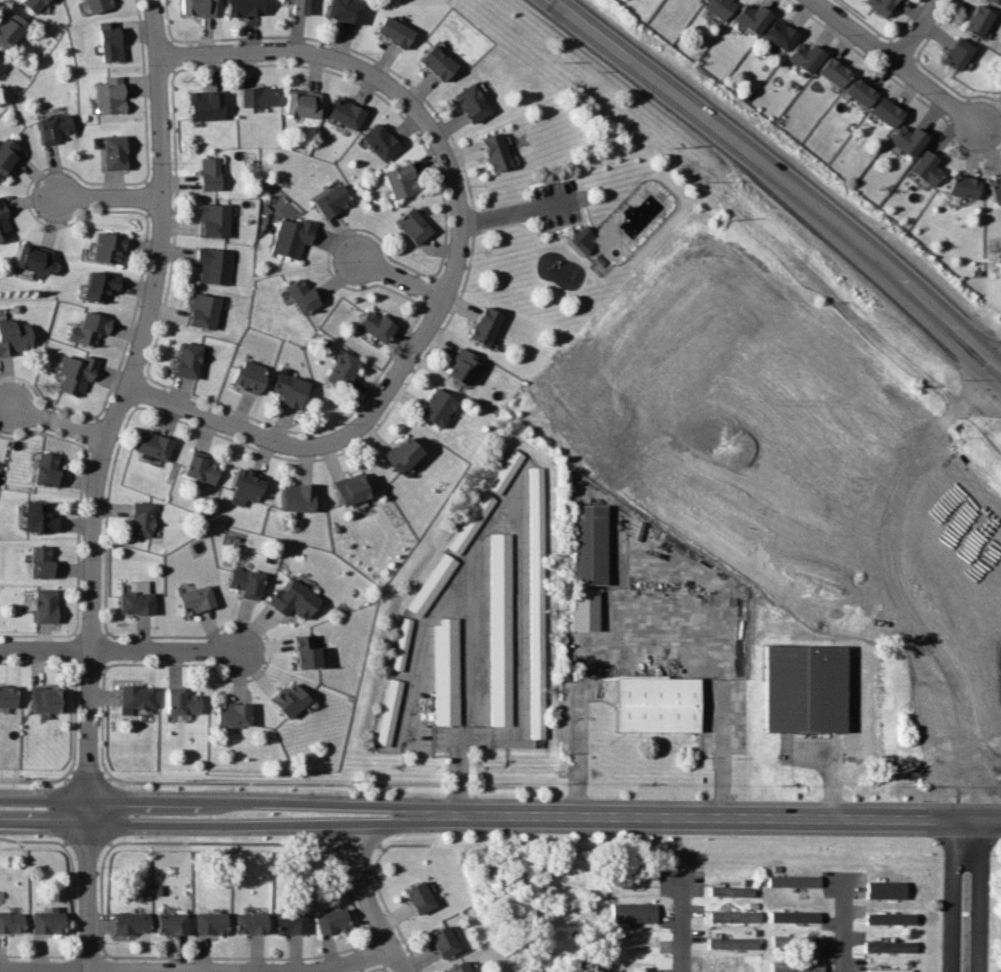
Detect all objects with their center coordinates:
building: (996, 2)
building: (35, 5)
building: (99, 5)
building: (296, 6)
building: (720, 7)
building: (882, 7)
building: (198, 8)
building: (245, 8)
building: (347, 10)
building: (754, 17)
building: (977, 21)
building: (11, 29)
road: (915, 30)
building: (396, 31)
building: (781, 34)
building: (111, 41)
building: (958, 54)
building: (806, 57)
building: (439, 63)
road: (898, 63)
building: (1, 65)
building: (0, 70)
building: (835, 73)
road: (395, 83)
building: (861, 92)
building: (110, 96)
building: (258, 97)
building: (474, 103)
building: (304, 105)
building: (207, 106)
building: (888, 112)
building: (347, 114)
building: (56, 127)
building: (910, 140)
building: (382, 142)
building: (497, 152)
building: (115, 153)
building: (9, 155)
building: (927, 168)
building: (210, 174)
road: (780, 177)
building: (403, 181)
building: (965, 187)
building: (994, 188)
road: (108, 195)
building: (333, 201)
road: (503, 215)
building: (215, 220)
building: (4, 223)
building: (415, 226)
building: (292, 237)
building: (581, 239)
building: (110, 248)
building: (34, 259)
building: (213, 265)
road: (398, 273)
building: (101, 286)
building: (303, 294)
building: (204, 311)
building: (378, 325)
building: (487, 326)
building: (90, 329)
building: (15, 337)
building: (190, 360)
building: (464, 366)
building: (344, 370)
building: (75, 374)
building: (250, 376)
building: (290, 389)
building: (438, 407)
road: (60, 426)
road: (316, 443)
building: (156, 445)
building: (404, 455)
building: (203, 469)
building: (49, 470)
building: (506, 471)
road: (105, 482)
building: (248, 486)
building: (354, 490)
building: (299, 499)
building: (41, 517)
building: (143, 520)
building: (471, 523)
building: (590, 544)
building: (43, 561)
building: (247, 581)
building: (432, 583)
building: (296, 597)
building: (198, 598)
building: (138, 601)
building: (536, 601)
building: (47, 604)
building: (585, 609)
building: (500, 628)
building: (402, 643)
road: (120, 649)
building: (309, 649)
building: (446, 670)
road: (722, 670)
building: (806, 687)
building: (9, 694)
building: (139, 695)
building: (291, 697)
building: (50, 699)
building: (185, 701)
building: (659, 702)
building: (389, 711)
building: (234, 713)
road: (860, 740)
road: (574, 750)
road: (45, 797)
road: (267, 800)
road: (721, 817)
road: (45, 823)
road: (267, 824)
building: (793, 880)
building: (885, 889)
building: (731, 891)
road: (952, 893)
road: (979, 894)
building: (416, 897)
road: (371, 900)
building: (631, 912)
building: (734, 916)
building: (793, 916)
building: (890, 918)
building: (330, 920)
building: (47, 921)
building: (10, 922)
building: (131, 922)
building: (249, 922)
building: (290, 922)
road: (684, 922)
building: (171, 923)
building: (210, 923)
road: (844, 926)
building: (440, 941)
building: (797, 941)
building: (732, 942)
building: (890, 946)
building: (797, 966)
building: (456, 967)
building: (890, 970)
road: (198, 971)

